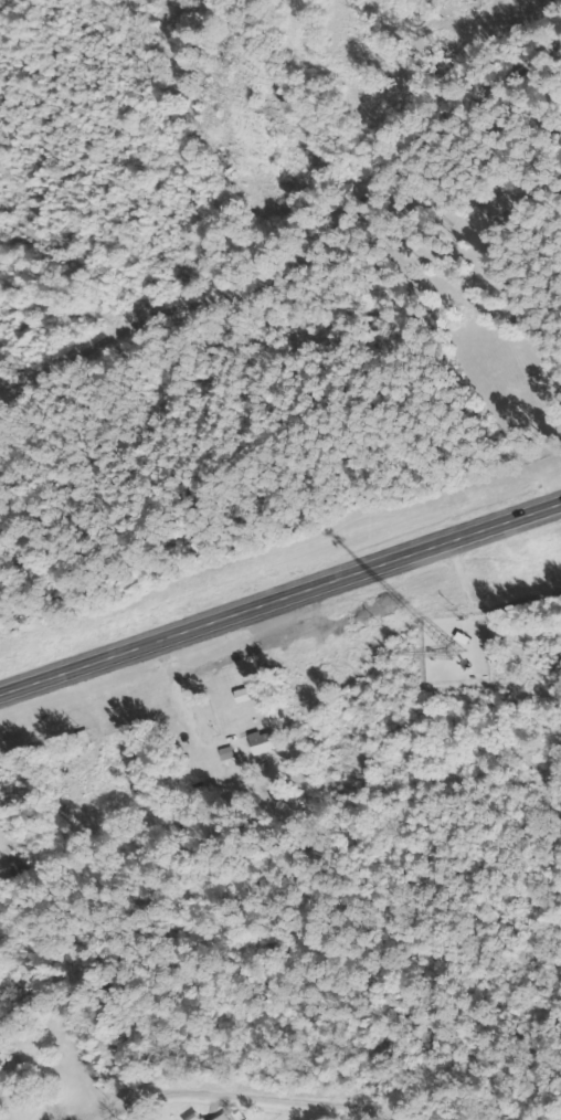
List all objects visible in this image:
building: (226, 61)
road: (389, 157)
building: (515, 324)
road: (280, 603)
building: (248, 695)
building: (81, 739)
building: (264, 742)
building: (18, 788)
building: (275, 801)
building: (110, 1057)
road: (254, 1106)
building: (223, 1118)
building: (197, 1119)

